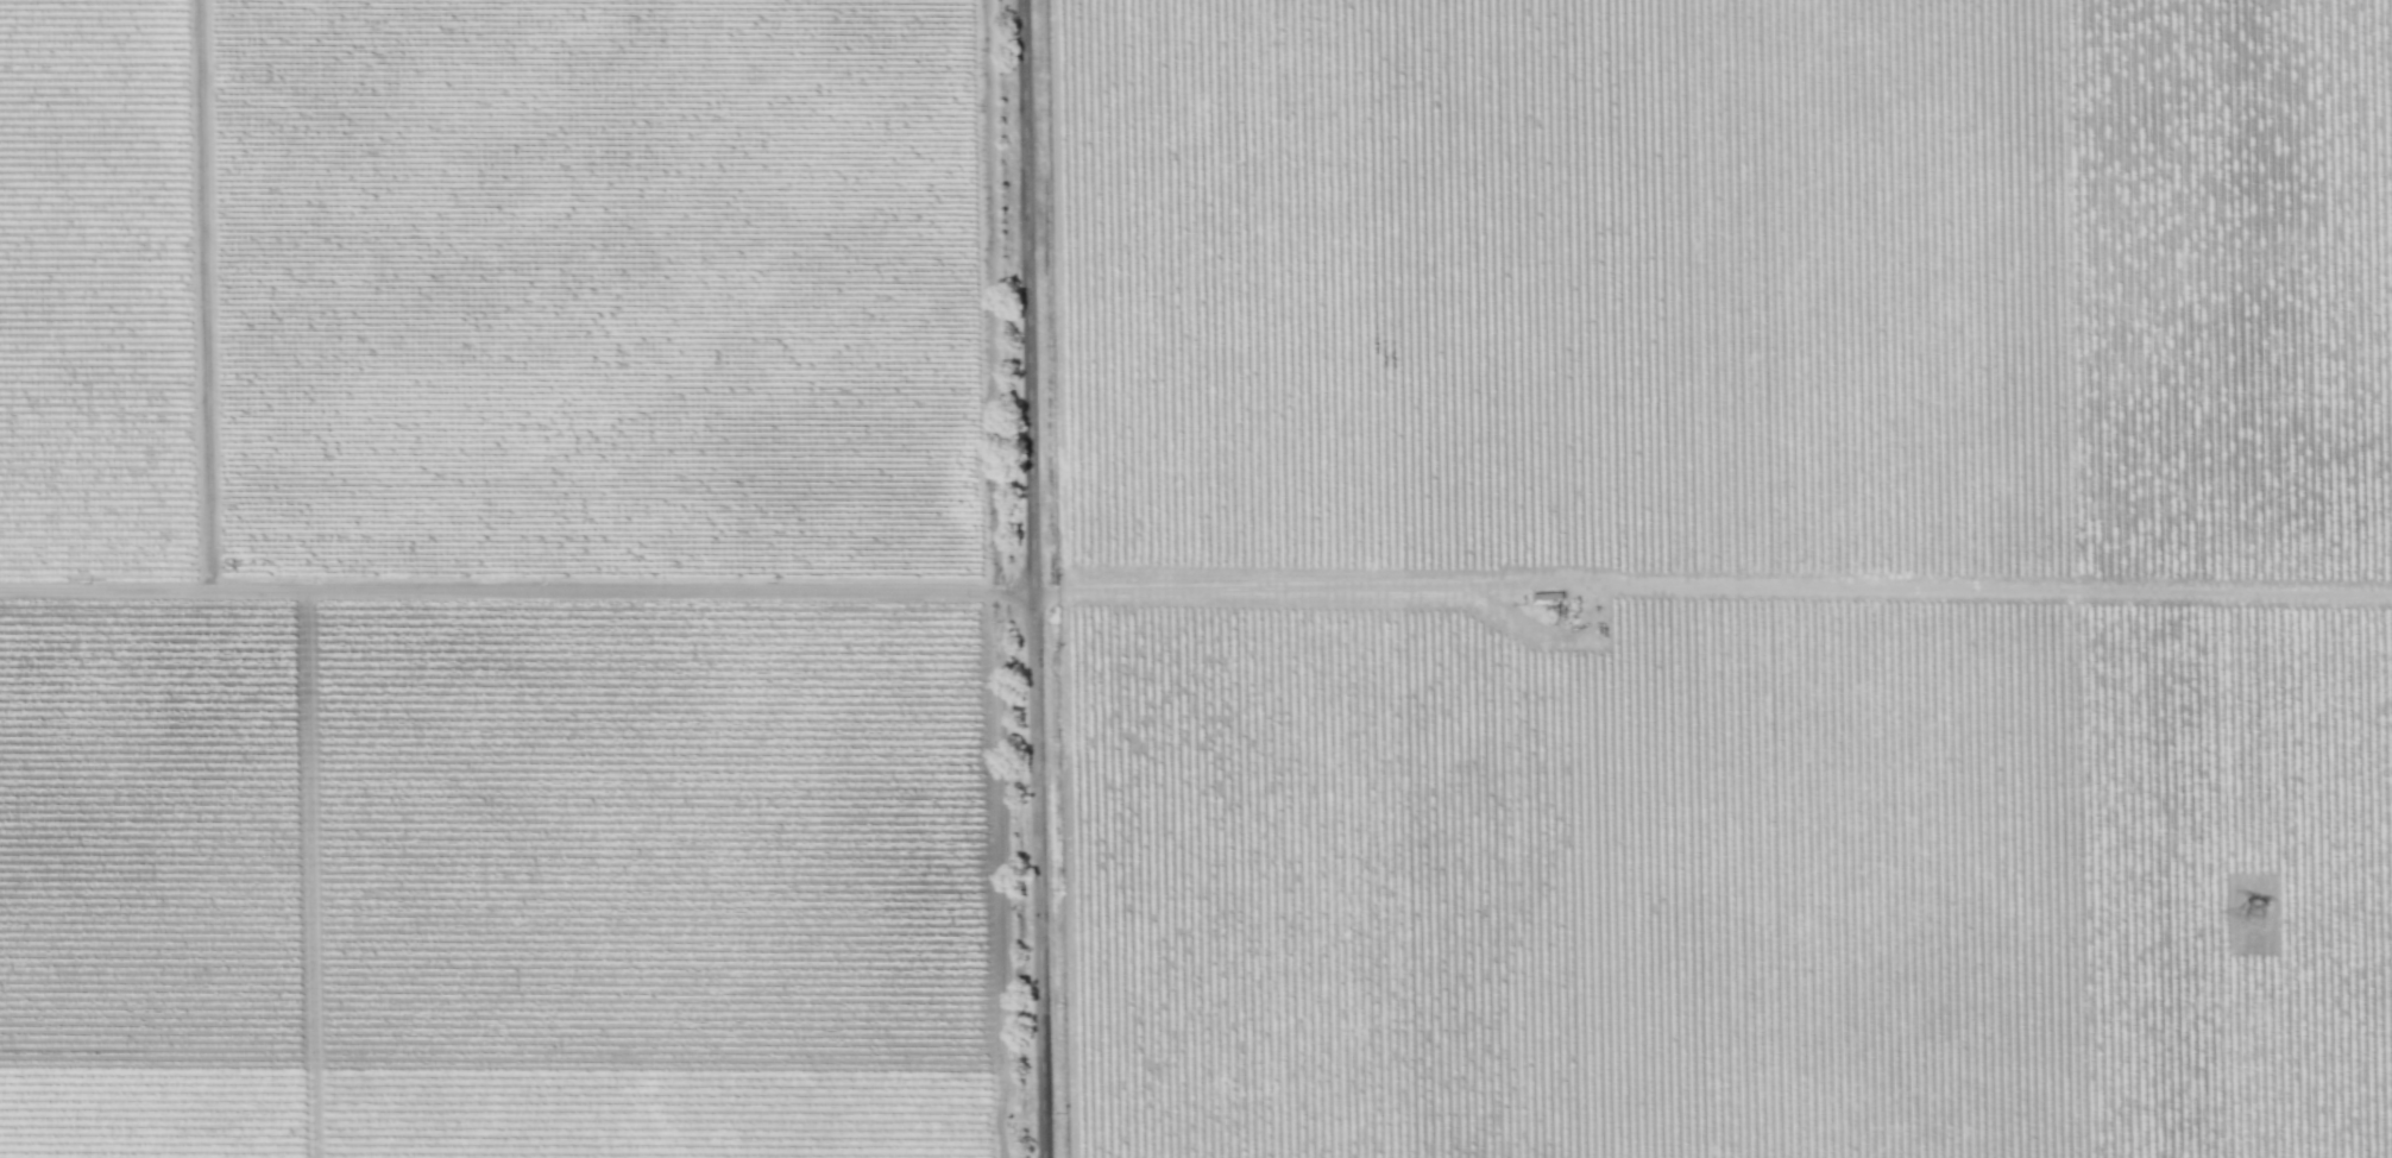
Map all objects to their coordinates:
road: (203, 295)
road: (986, 295)
road: (1034, 579)
crop: (1196, 579)
road: (1257, 586)
road: (490, 589)
road: (1007, 591)
power tower: (2259, 919)

